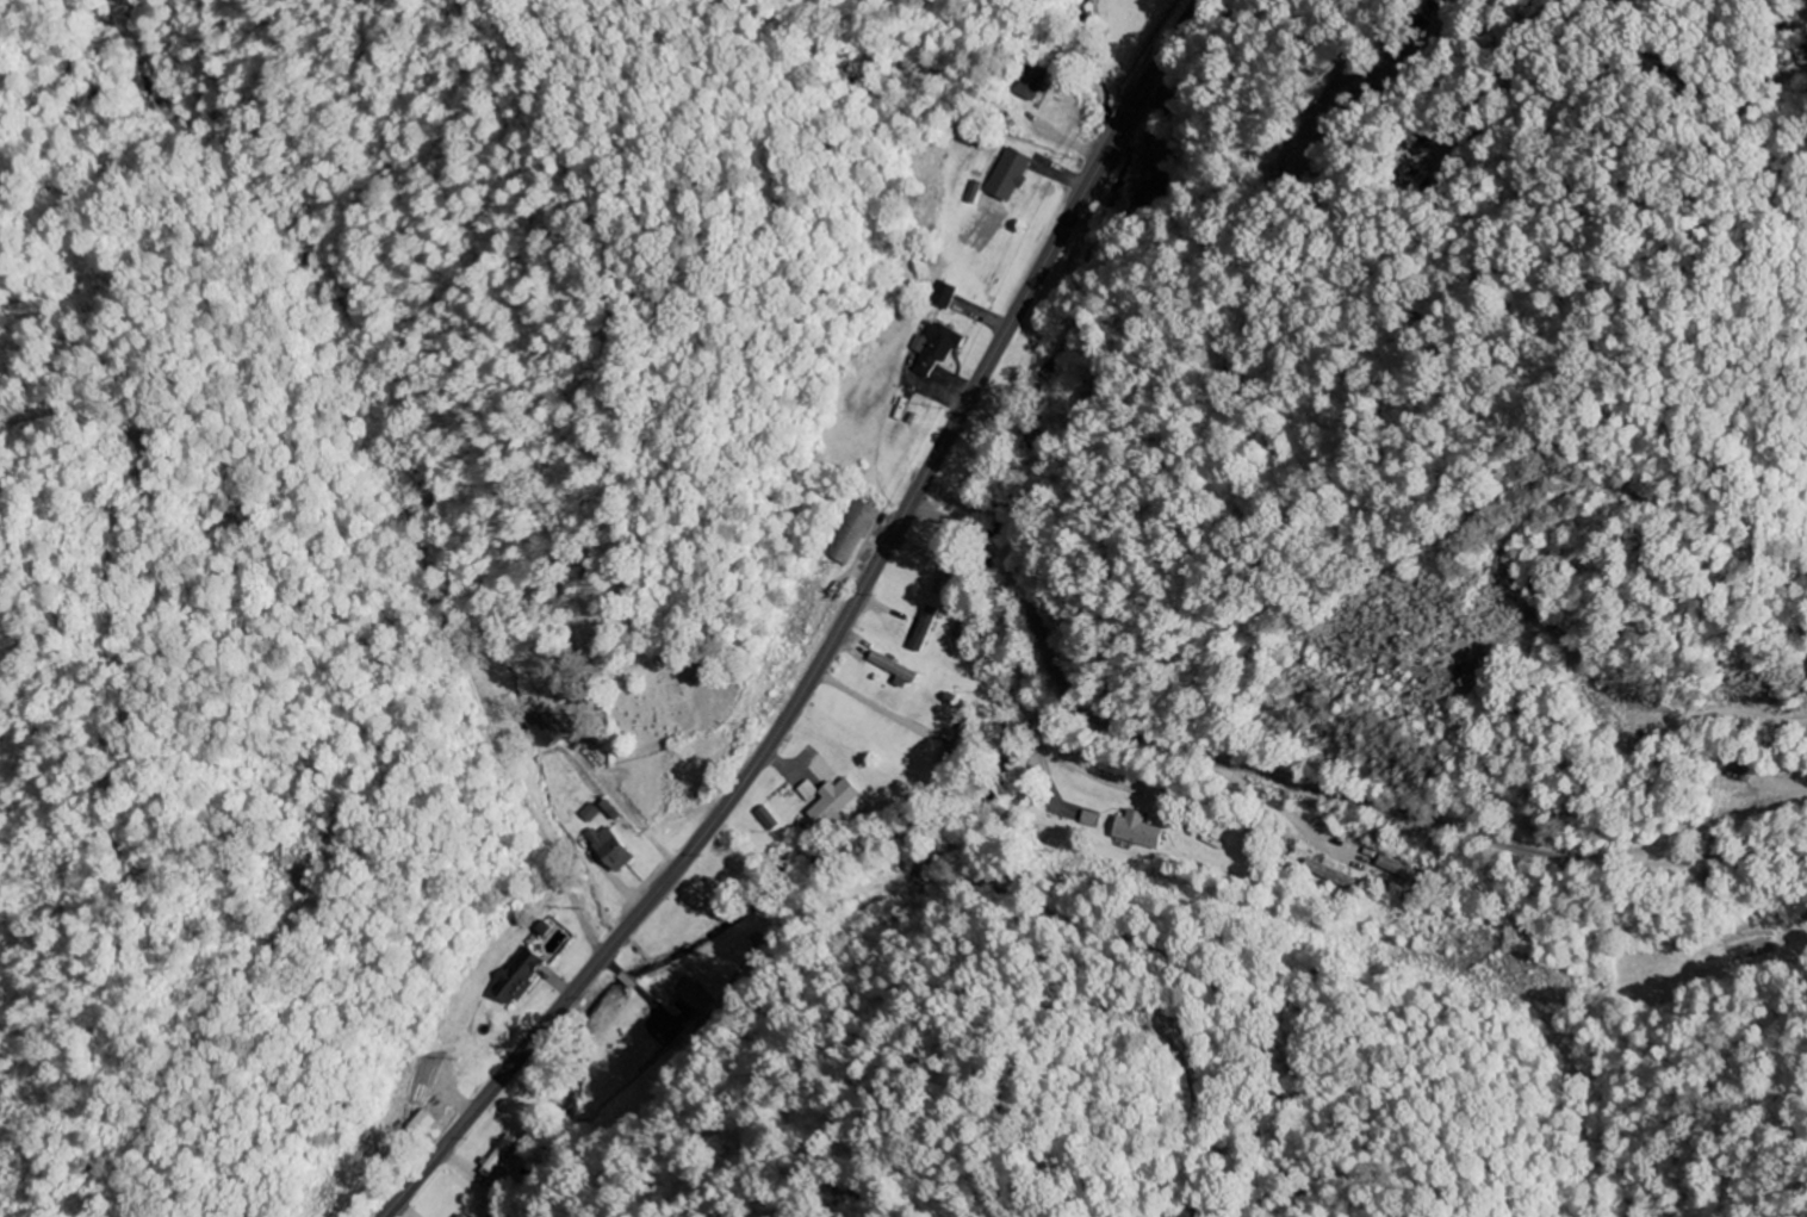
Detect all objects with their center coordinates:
building: (1006, 175)
building: (940, 294)
road: (1294, 576)
road: (832, 637)
building: (888, 668)
road: (1303, 781)
building: (808, 791)
building: (832, 793)
building: (589, 812)
building: (1132, 831)
building: (614, 847)
road: (664, 852)
building: (529, 962)
building: (499, 1155)
building: (464, 1215)

